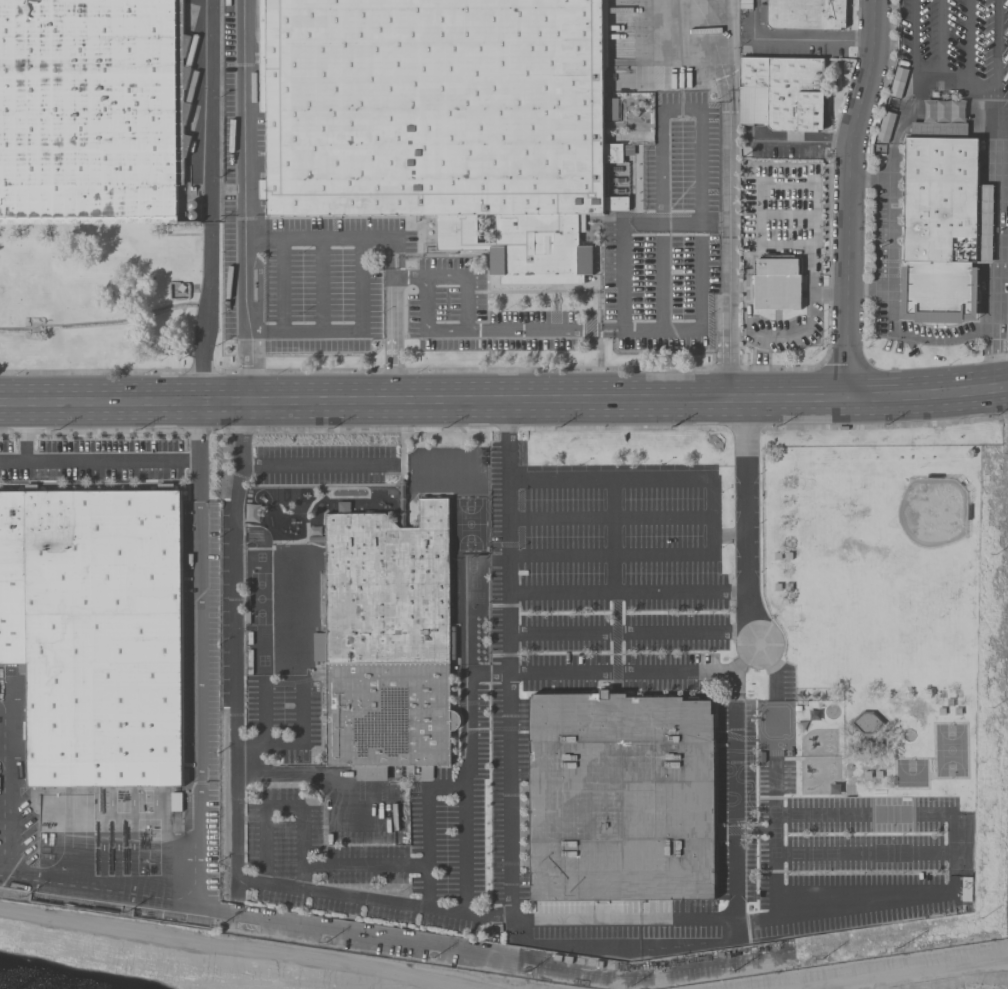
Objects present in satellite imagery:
road: (992, 4)
building: (805, 14)
road: (913, 40)
road: (942, 40)
road: (802, 41)
road: (969, 41)
road: (991, 46)
road: (918, 80)
building: (781, 93)
road: (993, 103)
building: (91, 111)
building: (442, 120)
road: (799, 143)
road: (700, 147)
road: (892, 160)
road: (987, 161)
road: (872, 177)
road: (999, 197)
road: (851, 198)
road: (726, 200)
road: (244, 201)
road: (208, 202)
road: (988, 221)
building: (940, 224)
road: (891, 231)
road: (394, 245)
road: (623, 260)
road: (992, 268)
road: (410, 276)
building: (776, 284)
road: (991, 326)
road: (624, 329)
road: (467, 330)
road: (526, 330)
road: (349, 332)
road: (899, 333)
road: (504, 401)
road: (197, 431)
road: (24, 432)
road: (119, 459)
road: (314, 467)
road: (711, 517)
road: (608, 518)
road: (746, 522)
road: (612, 573)
road: (626, 592)
building: (95, 633)
road: (630, 633)
building: (388, 643)
road: (619, 671)
road: (263, 713)
road: (301, 745)
road: (467, 775)
road: (339, 776)
road: (732, 777)
road: (236, 779)
road: (198, 791)
building: (620, 797)
road: (274, 805)
road: (853, 815)
road: (429, 829)
road: (863, 853)
road: (354, 864)
road: (512, 880)

